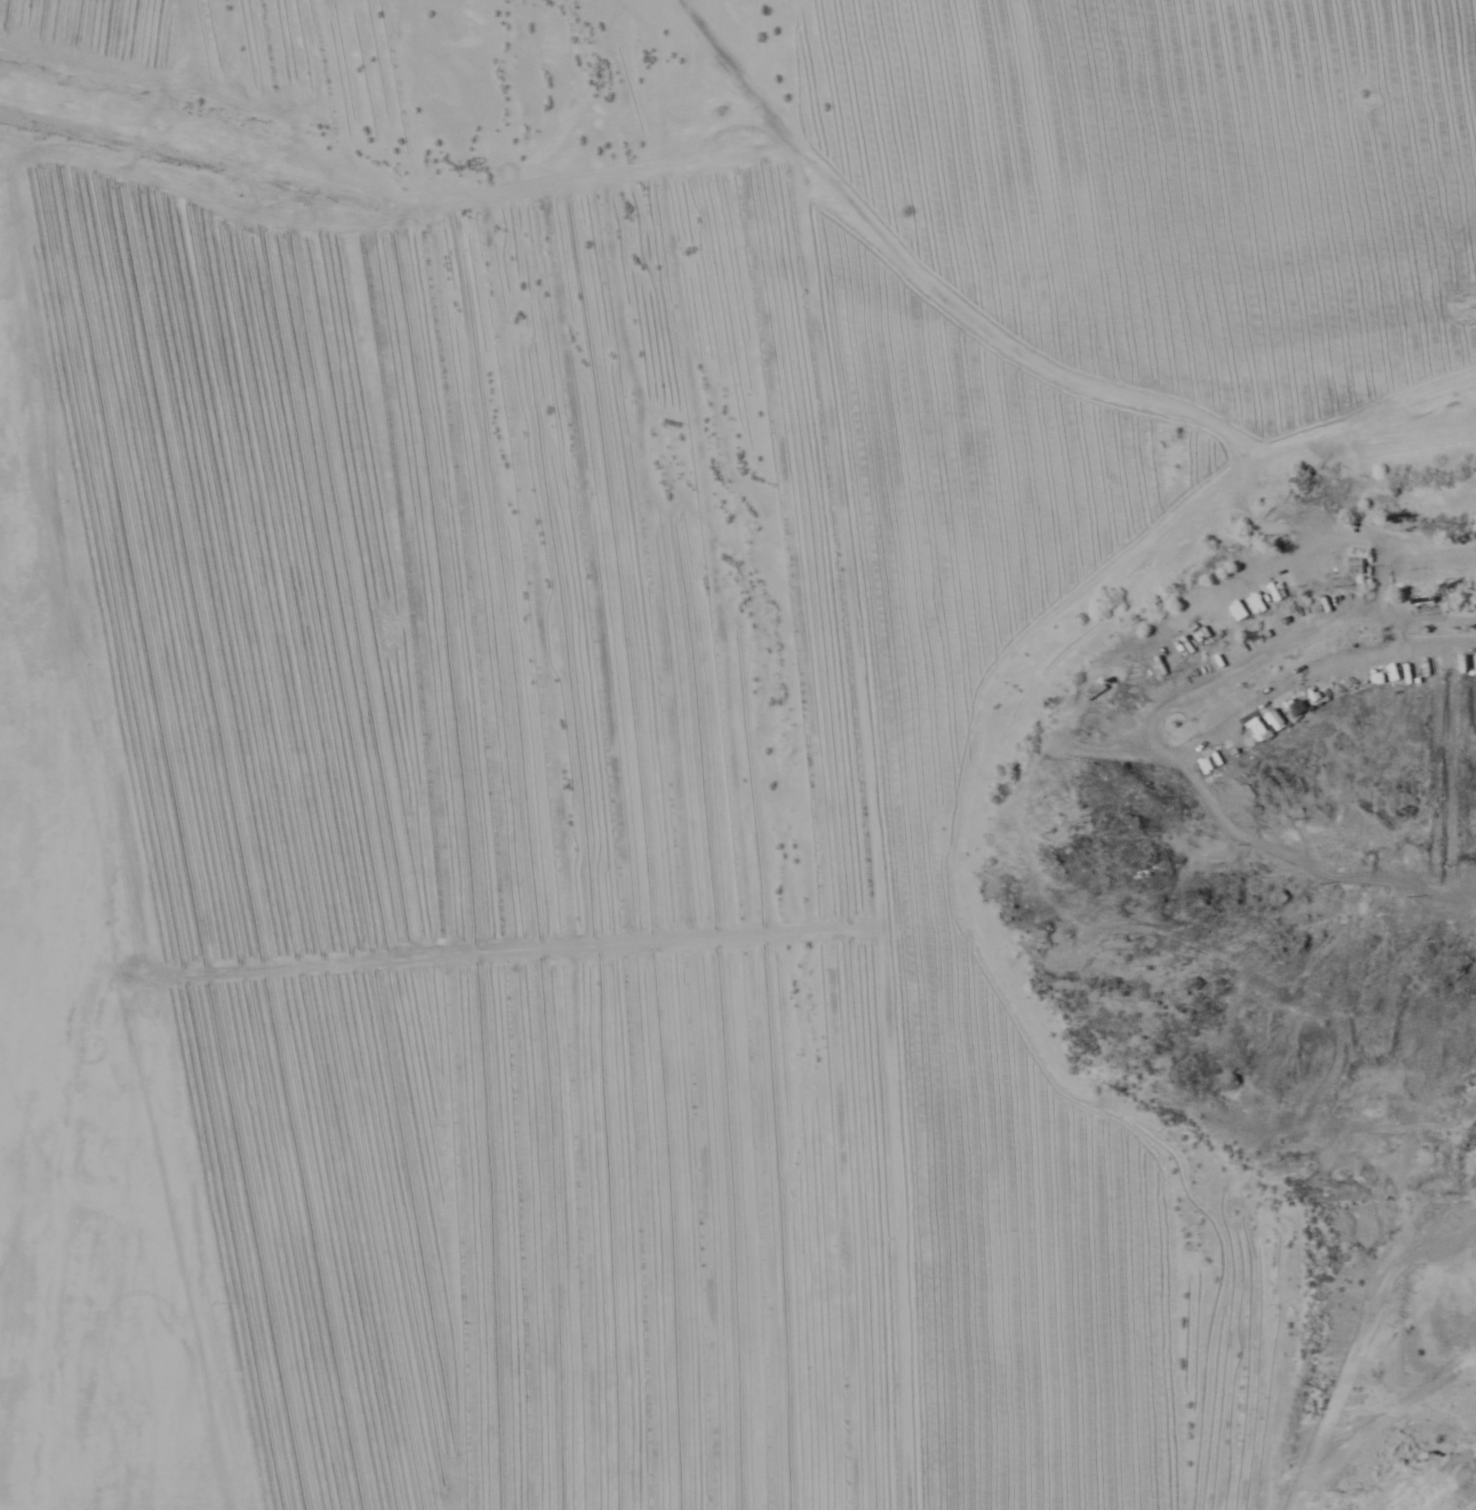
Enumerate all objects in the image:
building: (1356, 563)
building: (1255, 601)
building: (1238, 609)
building: (1275, 717)

